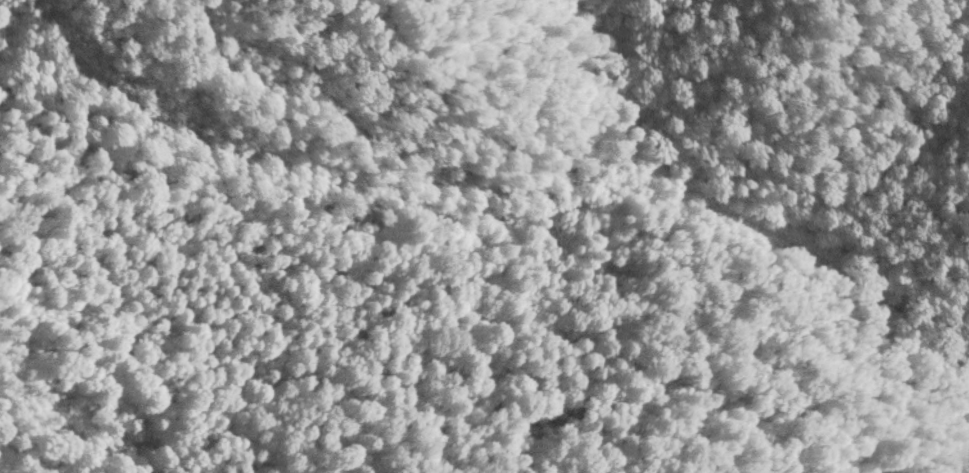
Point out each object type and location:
road: (835, 272)

